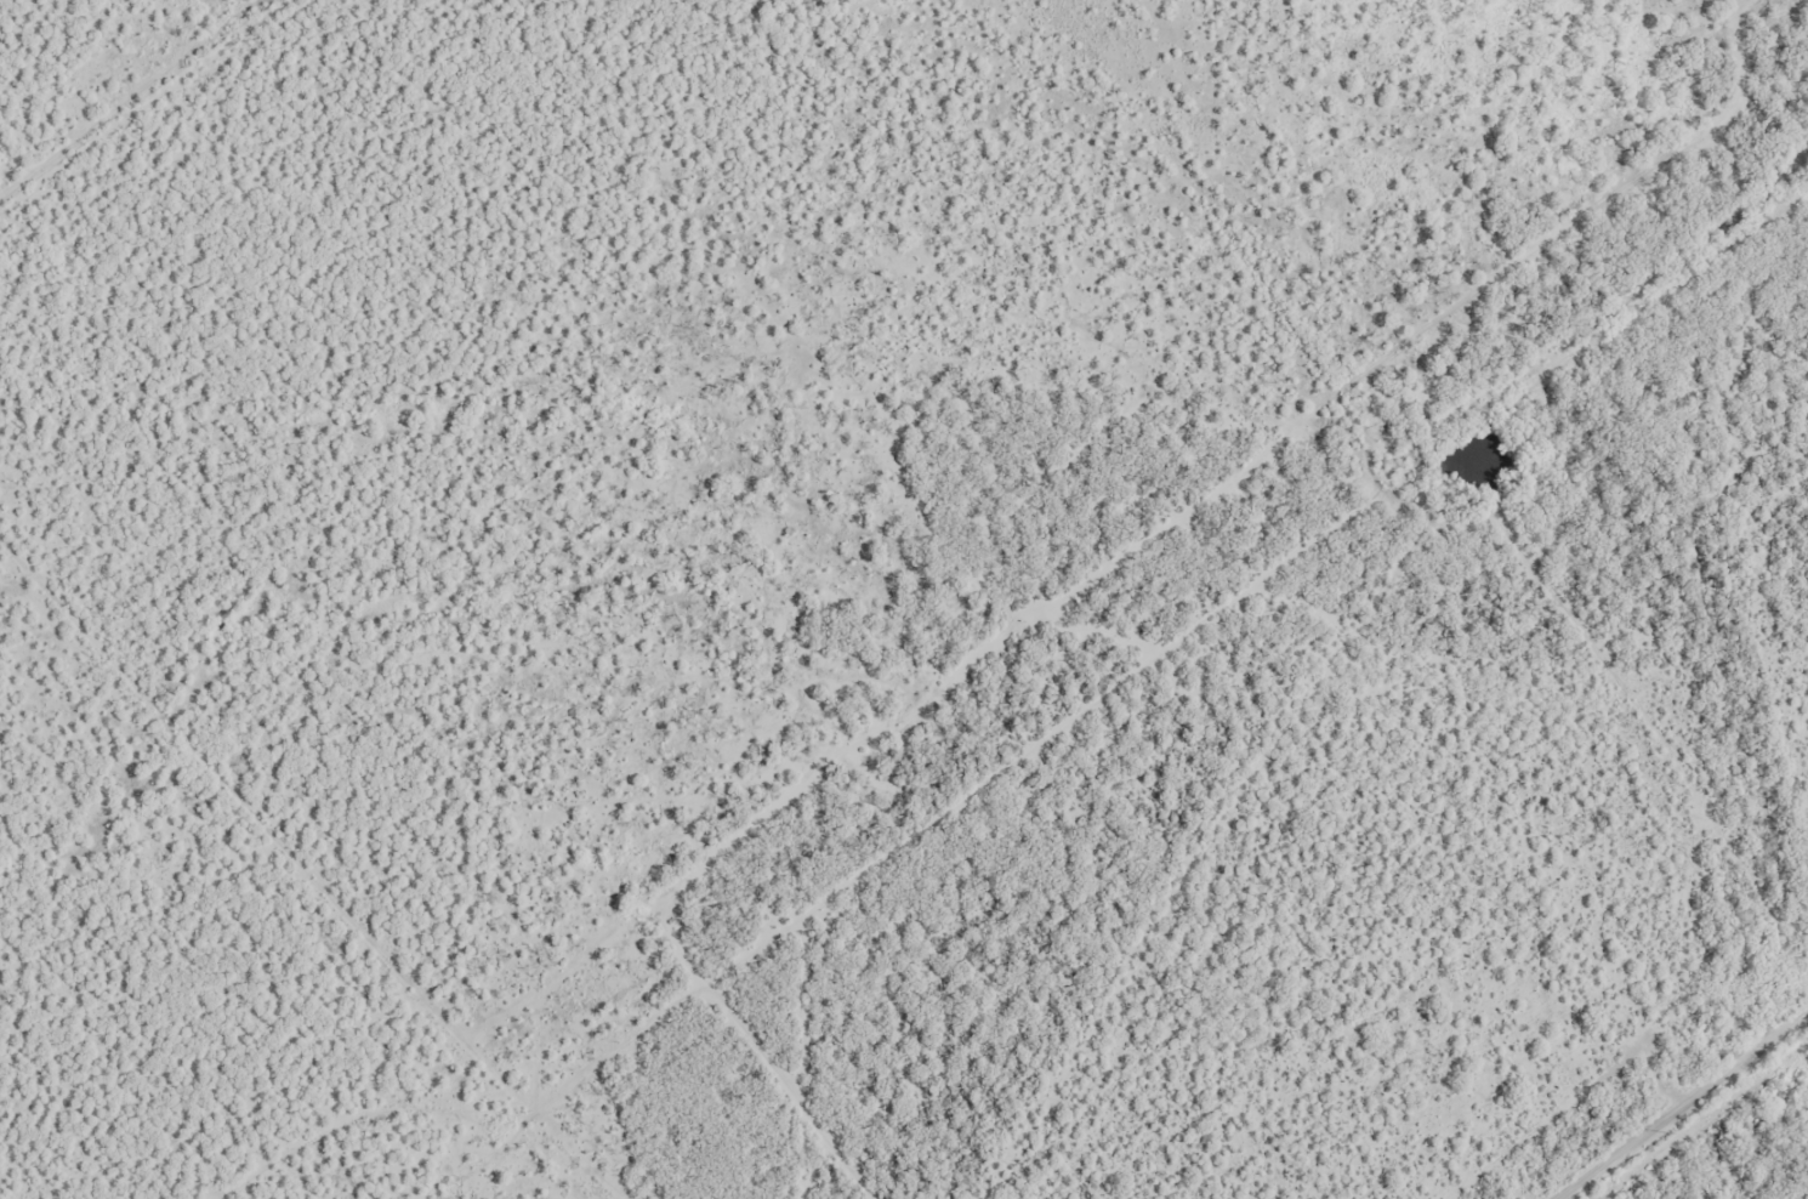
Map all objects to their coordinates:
road: (1707, 1125)

